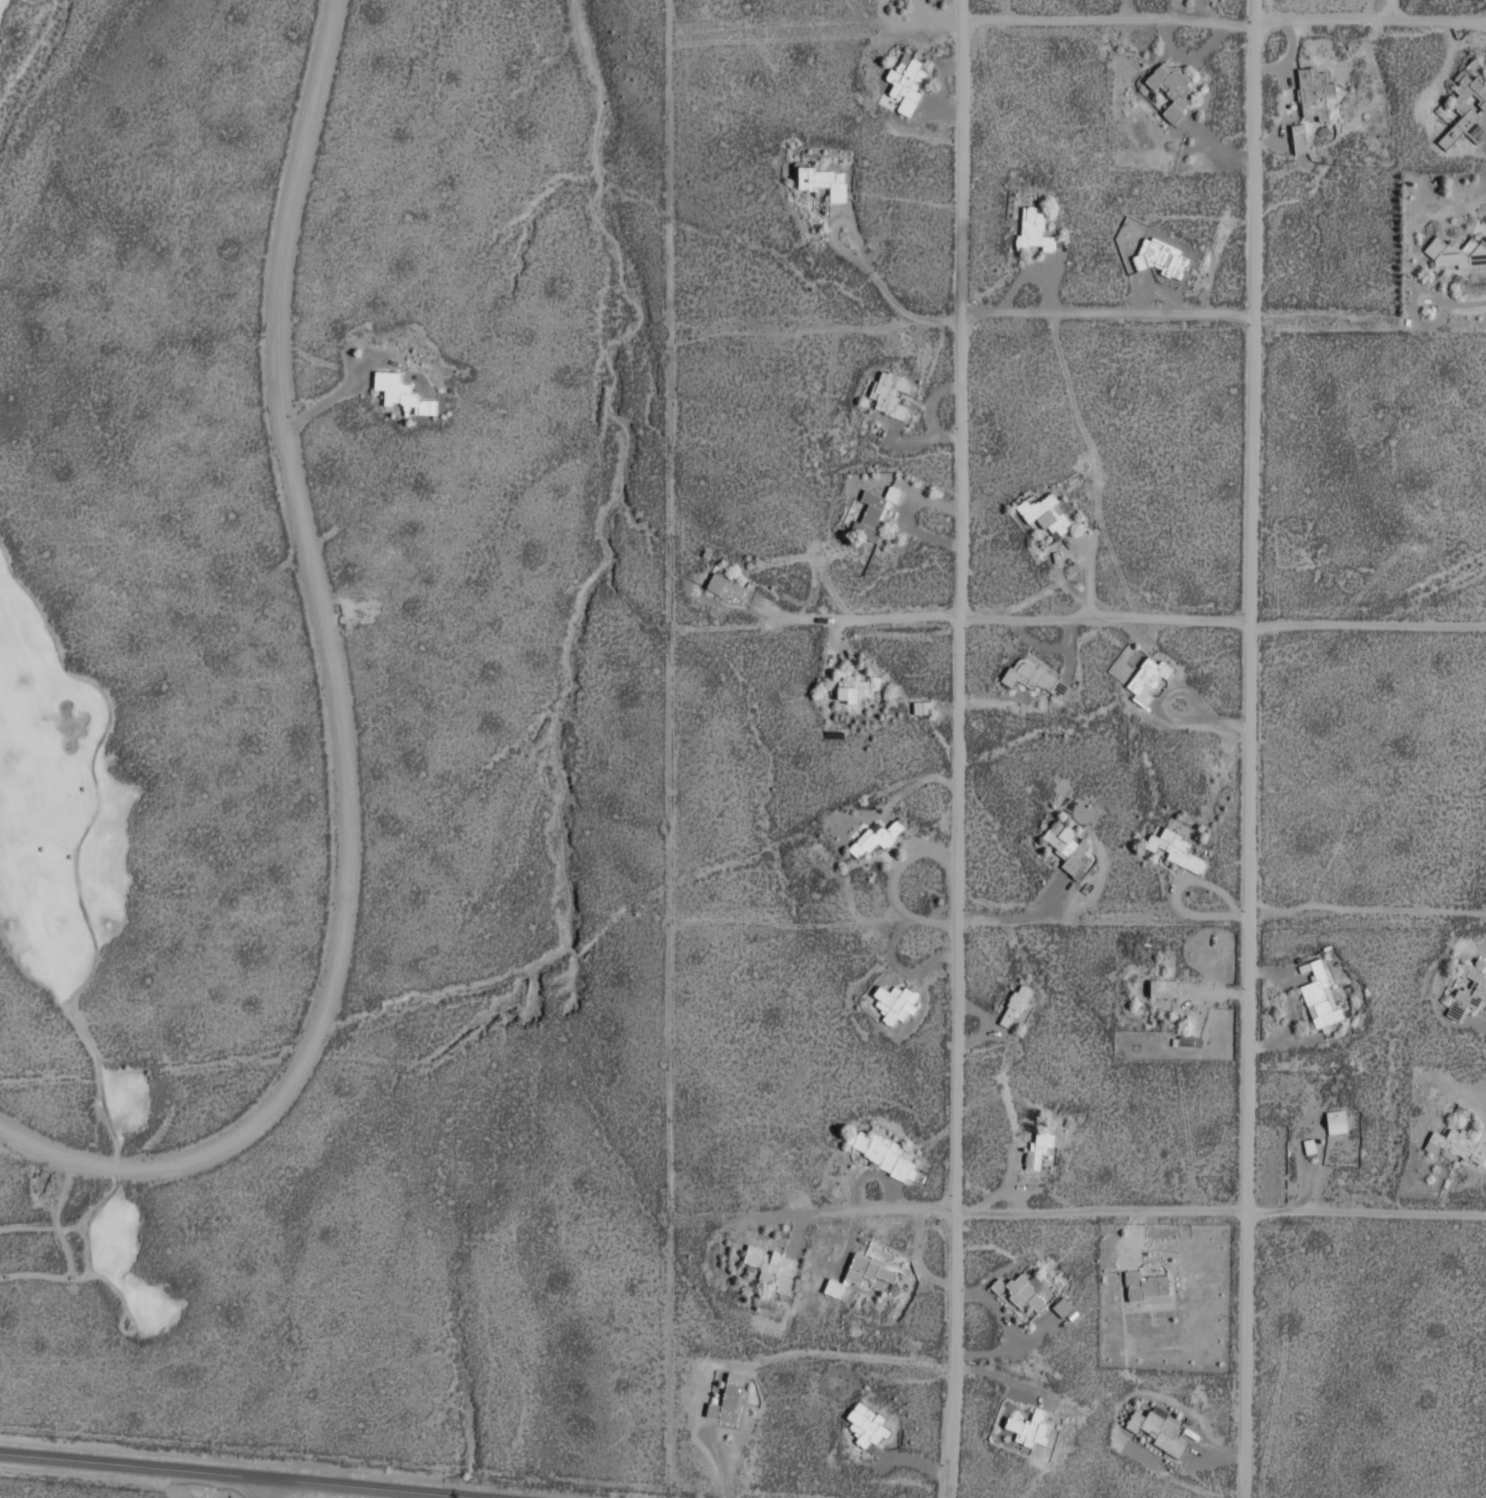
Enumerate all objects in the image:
road: (1225, 23)
park: (37, 69)
building: (906, 82)
building: (1172, 88)
building: (1313, 92)
building: (1460, 105)
building: (1298, 138)
building: (821, 181)
building: (1033, 230)
building: (1456, 252)
building: (1162, 257)
road: (1107, 318)
building: (401, 392)
building: (890, 392)
building: (874, 512)
building: (1049, 513)
building: (724, 585)
road: (1162, 624)
building: (1034, 676)
building: (1146, 679)
building: (856, 689)
building: (922, 707)
road: (336, 709)
road: (1247, 748)
road: (957, 749)
building: (875, 838)
building: (1068, 848)
building: (1176, 849)
park: (86, 968)
building: (1469, 989)
building: (1165, 996)
building: (895, 1002)
building: (1323, 1003)
building: (1015, 1005)
building: (1189, 1040)
building: (1338, 1126)
building: (1309, 1145)
building: (1456, 1146)
building: (1038, 1149)
building: (885, 1154)
road: (1218, 1217)
building: (771, 1267)
building: (859, 1274)
building: (1029, 1290)
building: (1146, 1291)
building: (1065, 1308)
building: (728, 1399)
building: (866, 1425)
building: (1028, 1428)
building: (1156, 1432)
road: (243, 1475)
road: (270, 1488)

